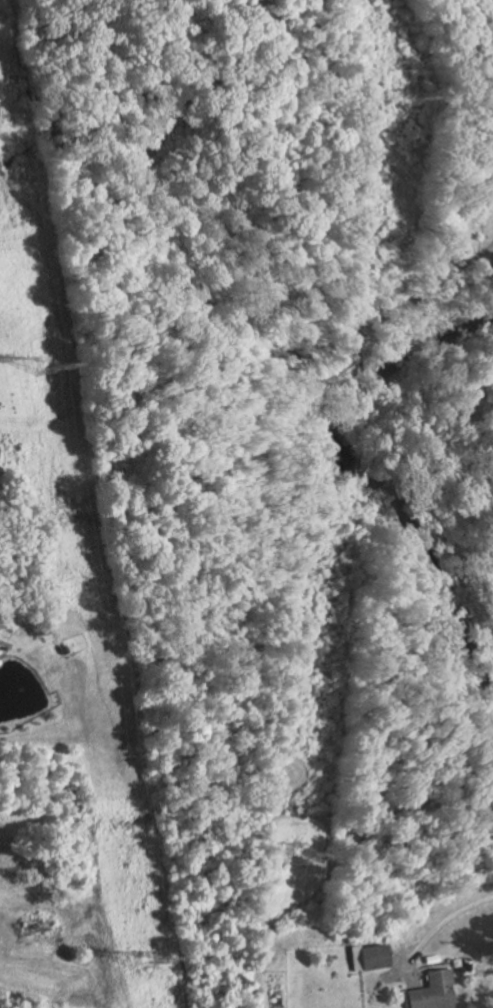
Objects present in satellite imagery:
power tower: (402, 99)
power tower: (45, 364)
power tower: (294, 857)
road: (446, 916)
building: (366, 956)
power tower: (143, 963)
building: (430, 989)

